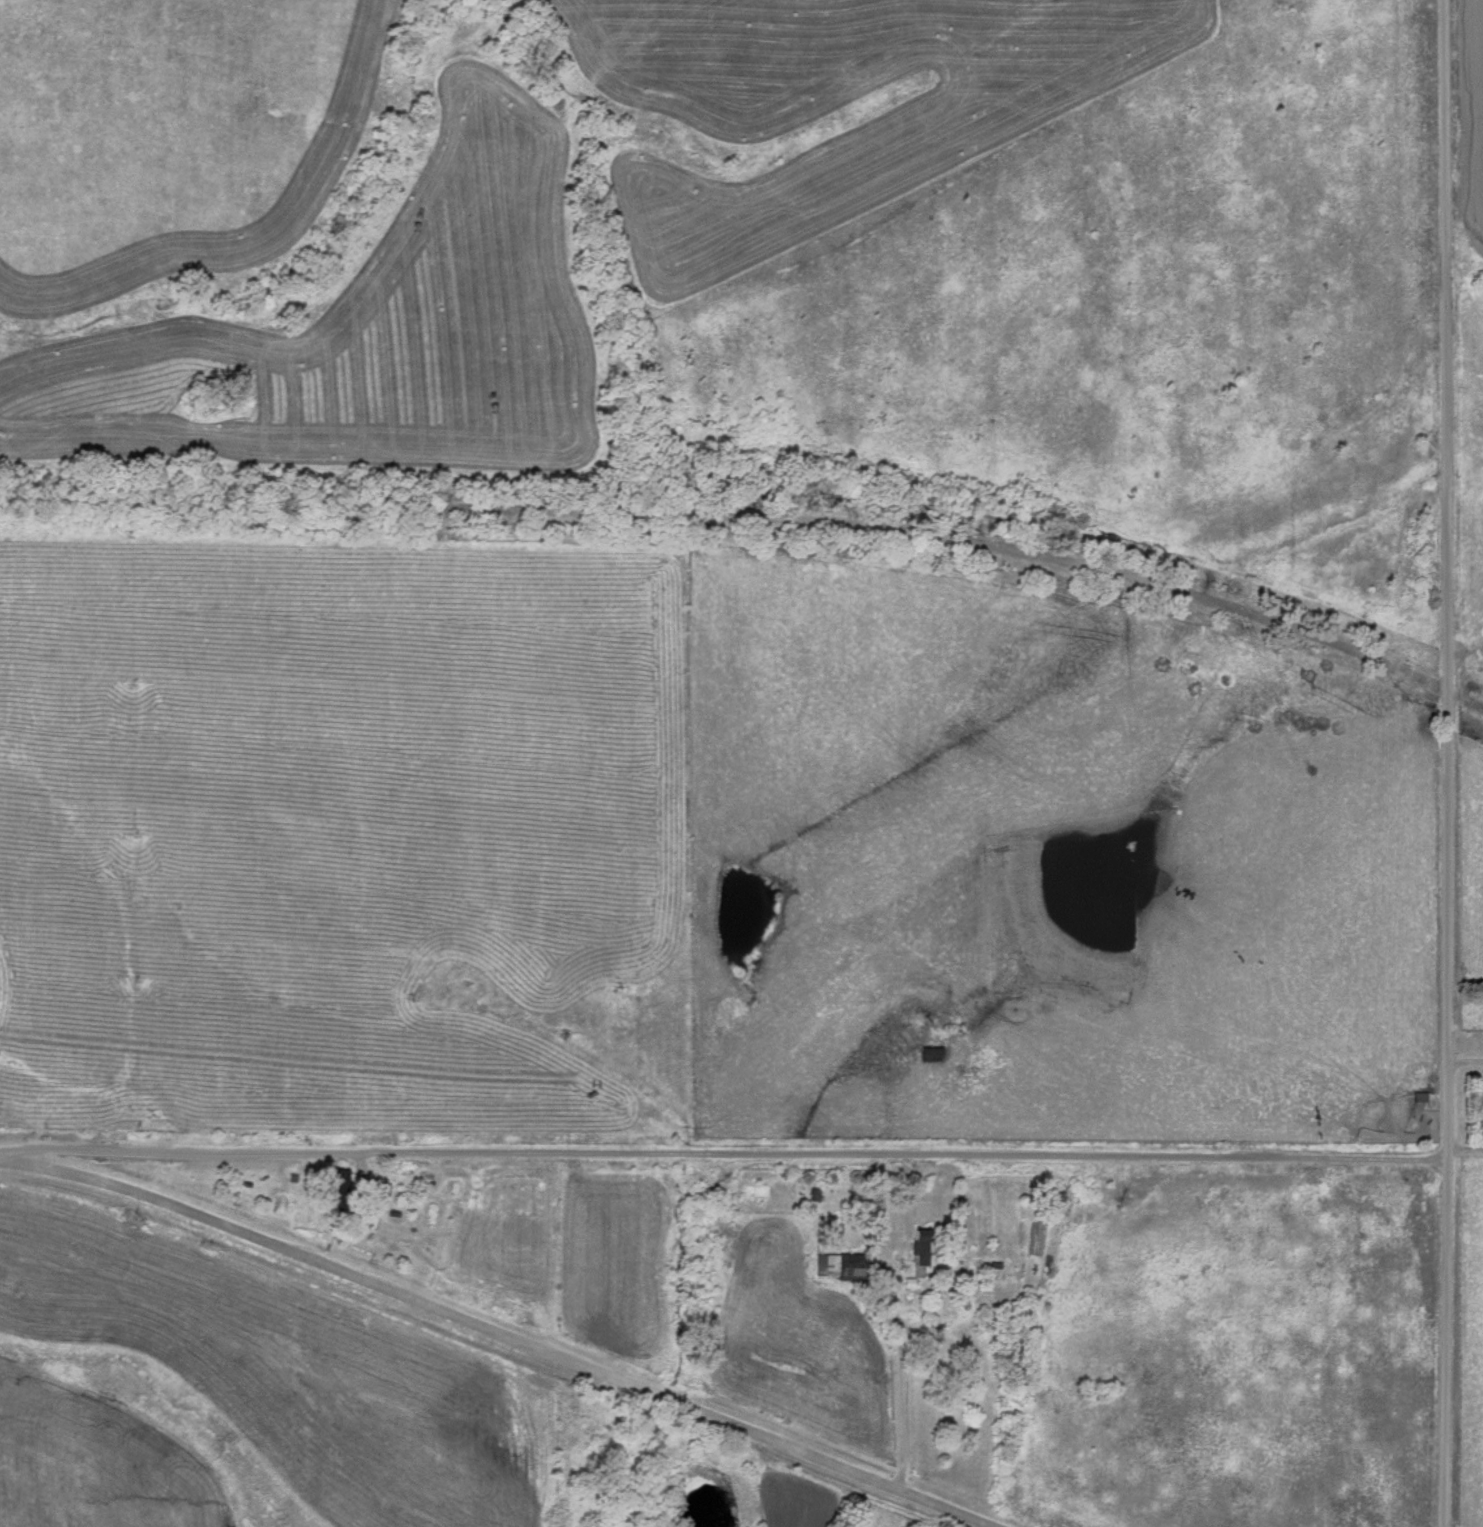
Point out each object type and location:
road: (1442, 763)
crop: (336, 825)
building: (931, 1053)
road: (1464, 1059)
road: (724, 1155)
building: (337, 1189)
building: (754, 1192)
building: (922, 1252)
road: (505, 1332)

